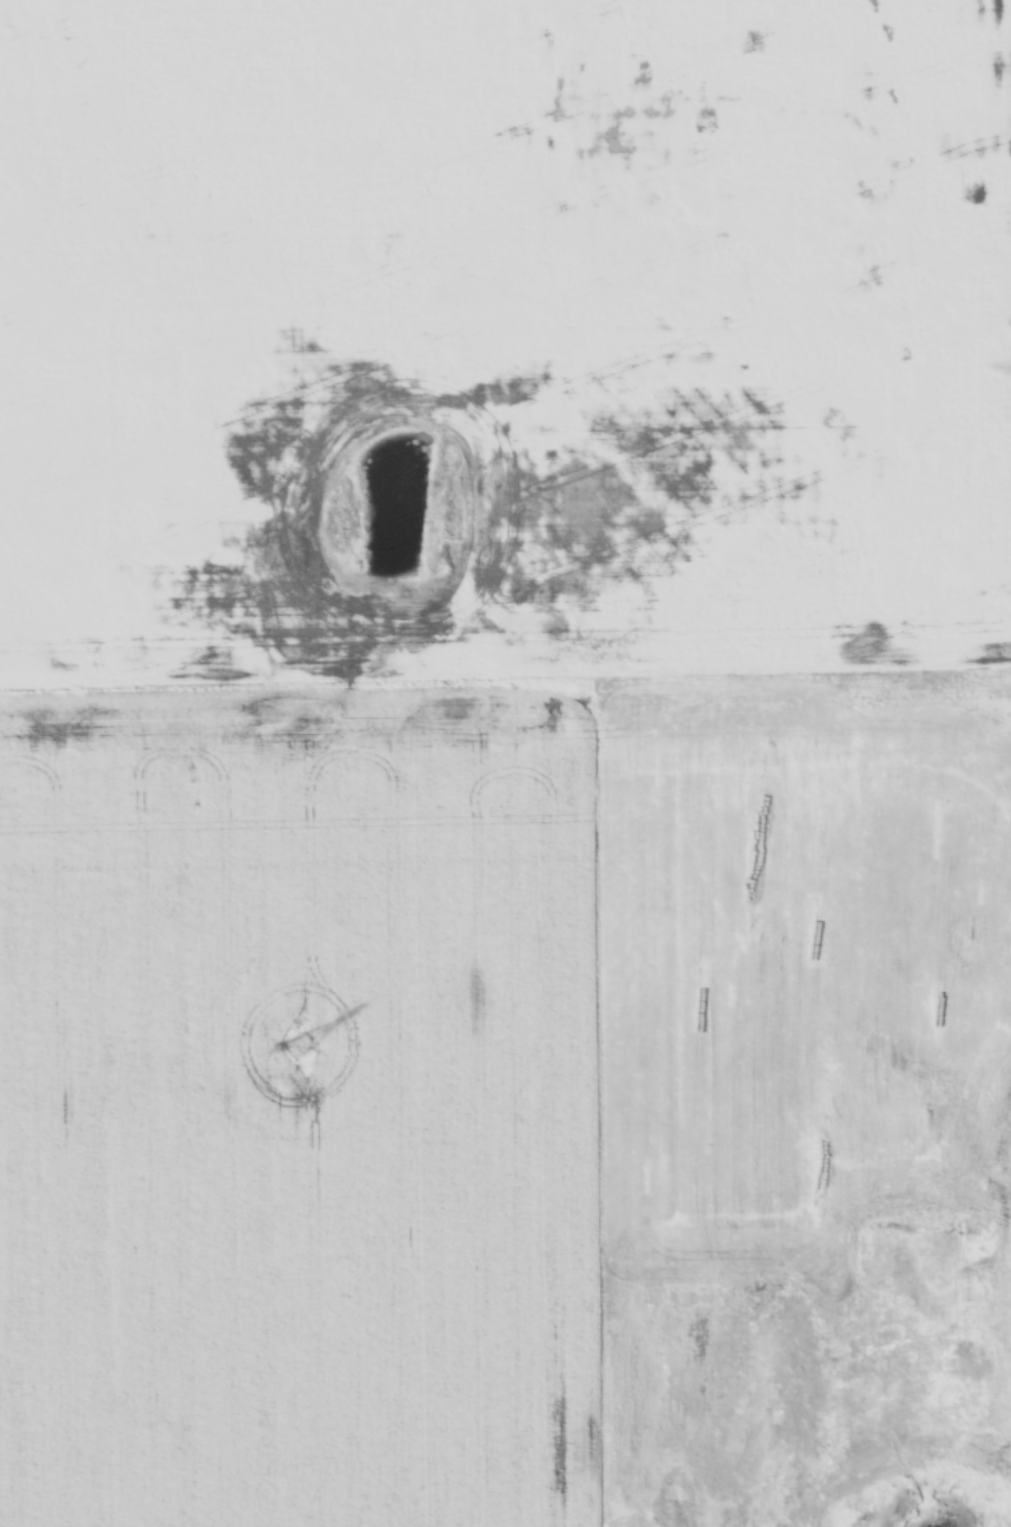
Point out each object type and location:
power tower: (299, 1048)

